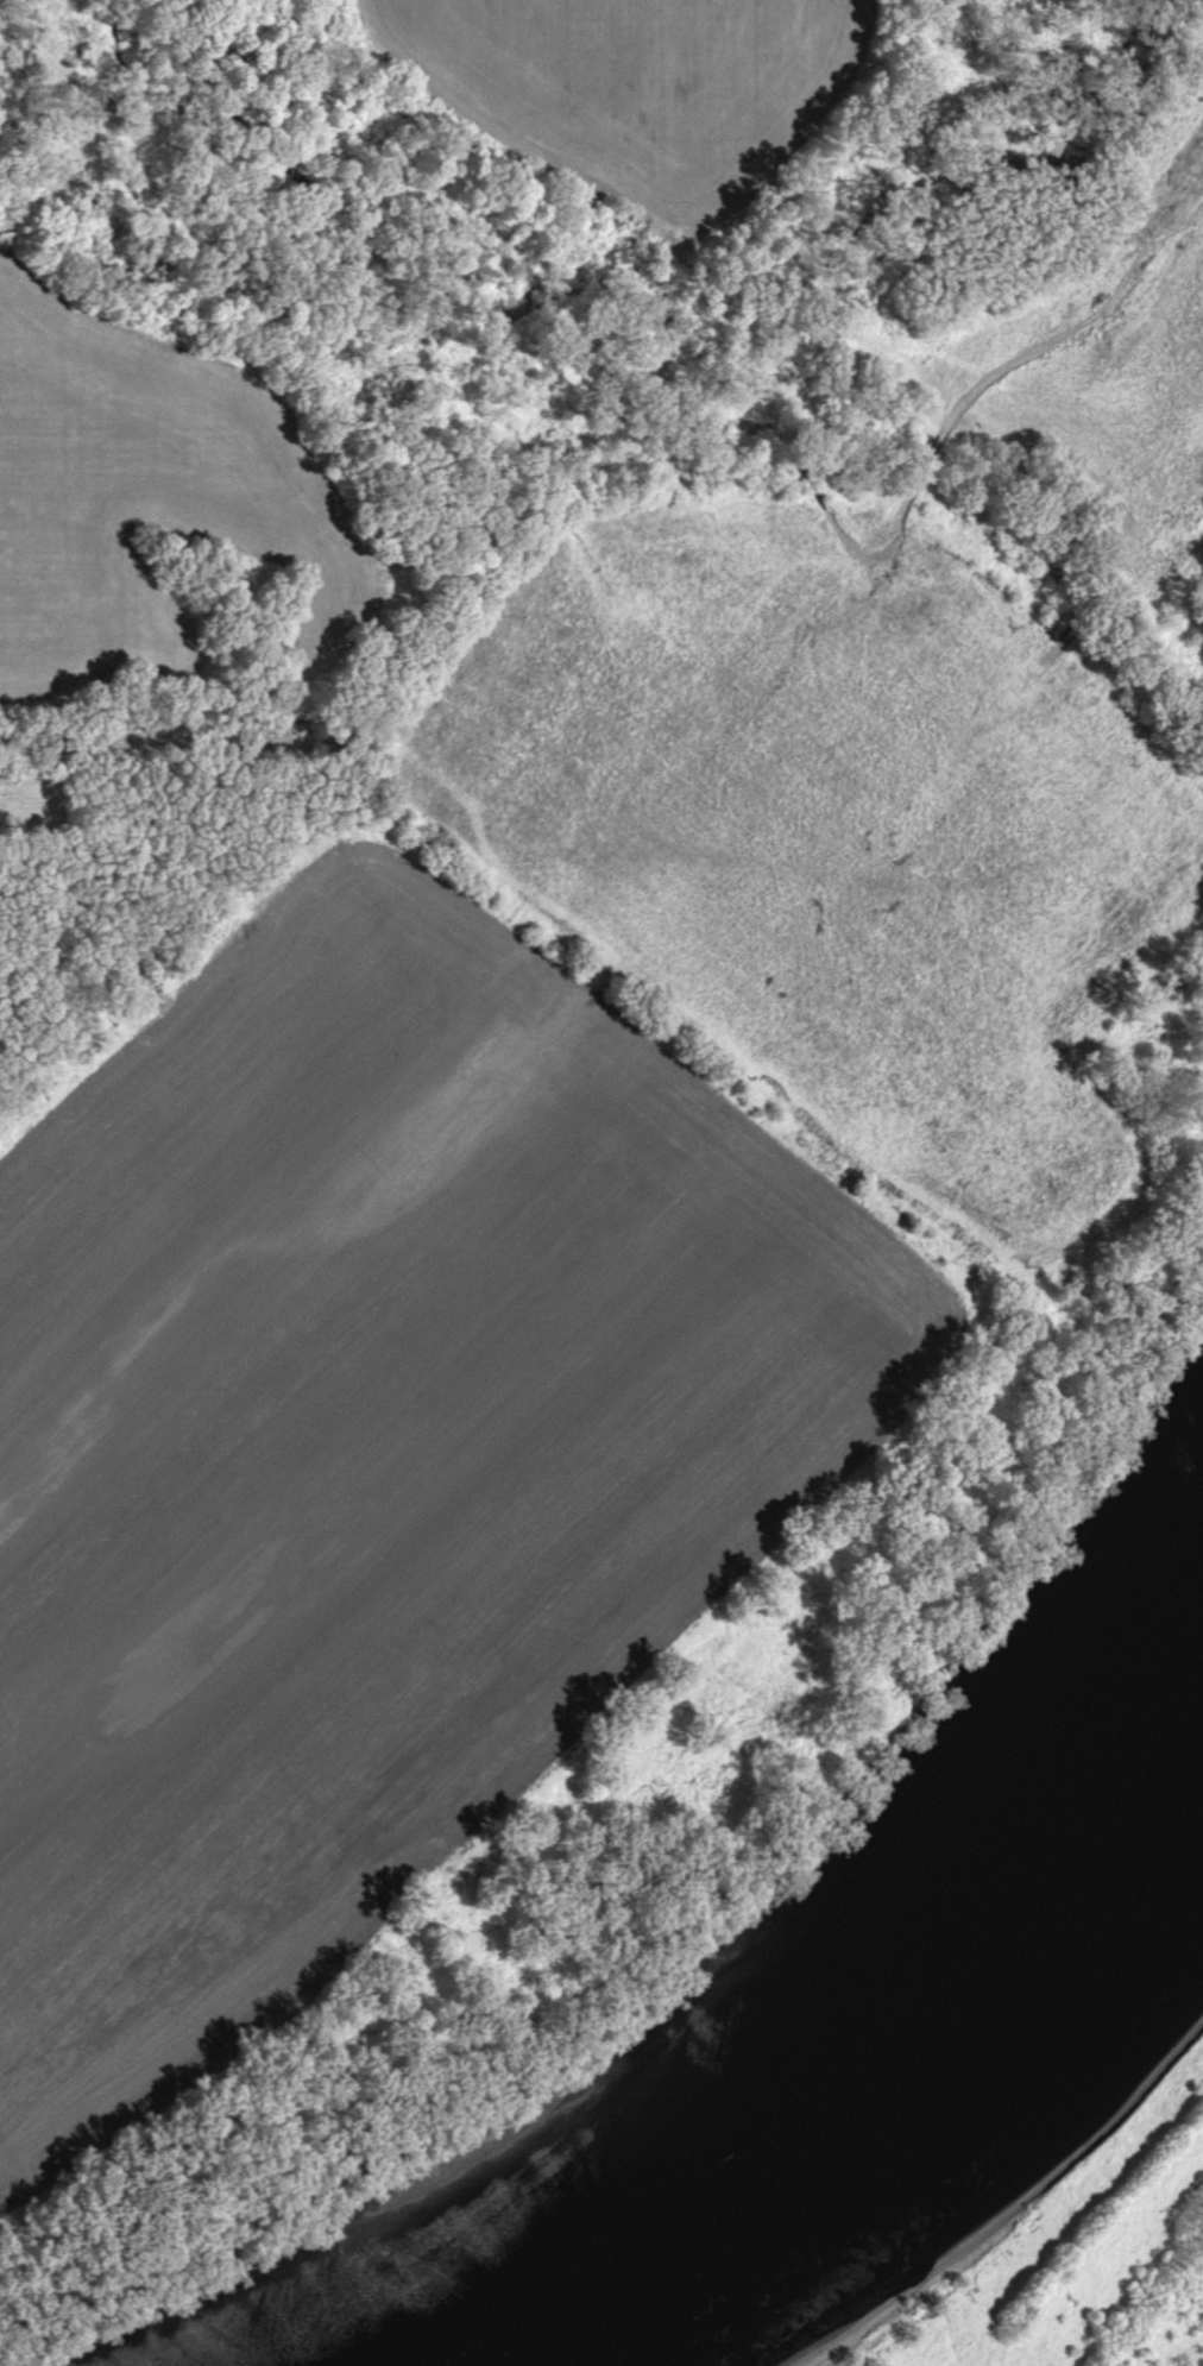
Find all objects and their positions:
river: (867, 2118)

